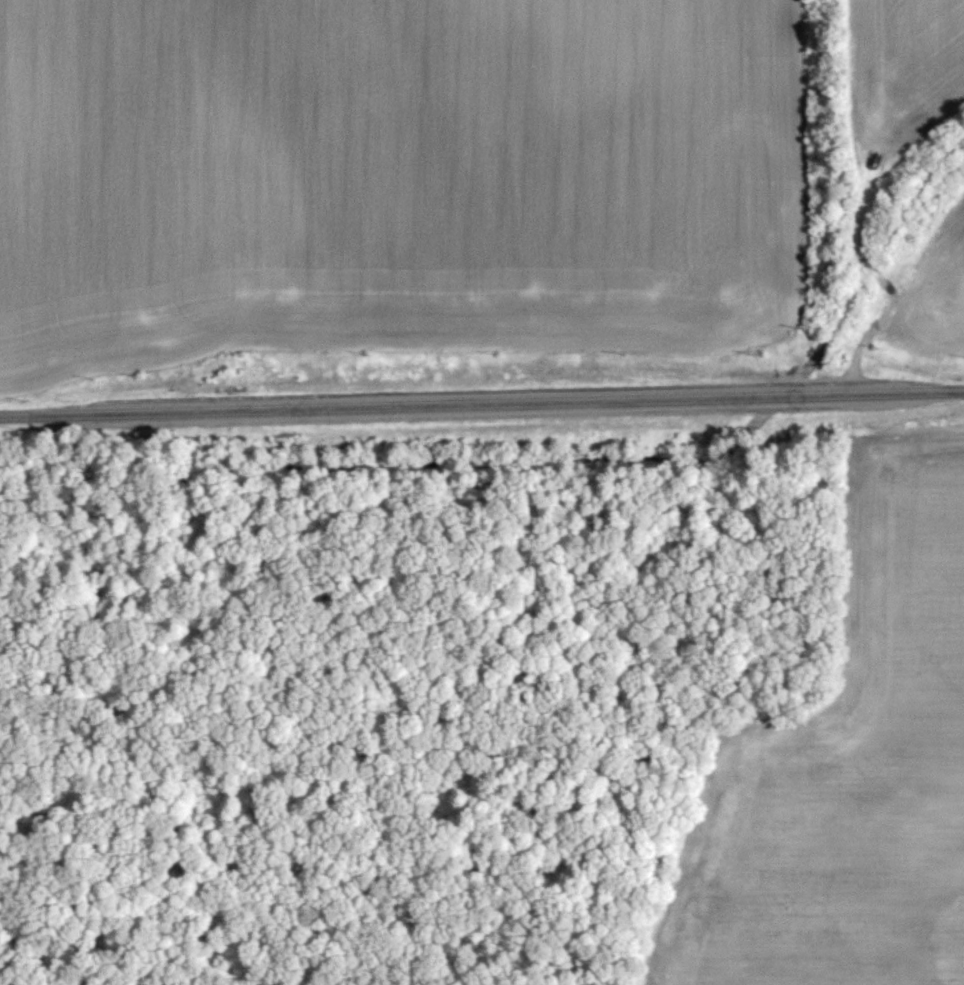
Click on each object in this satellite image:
road: (482, 402)

